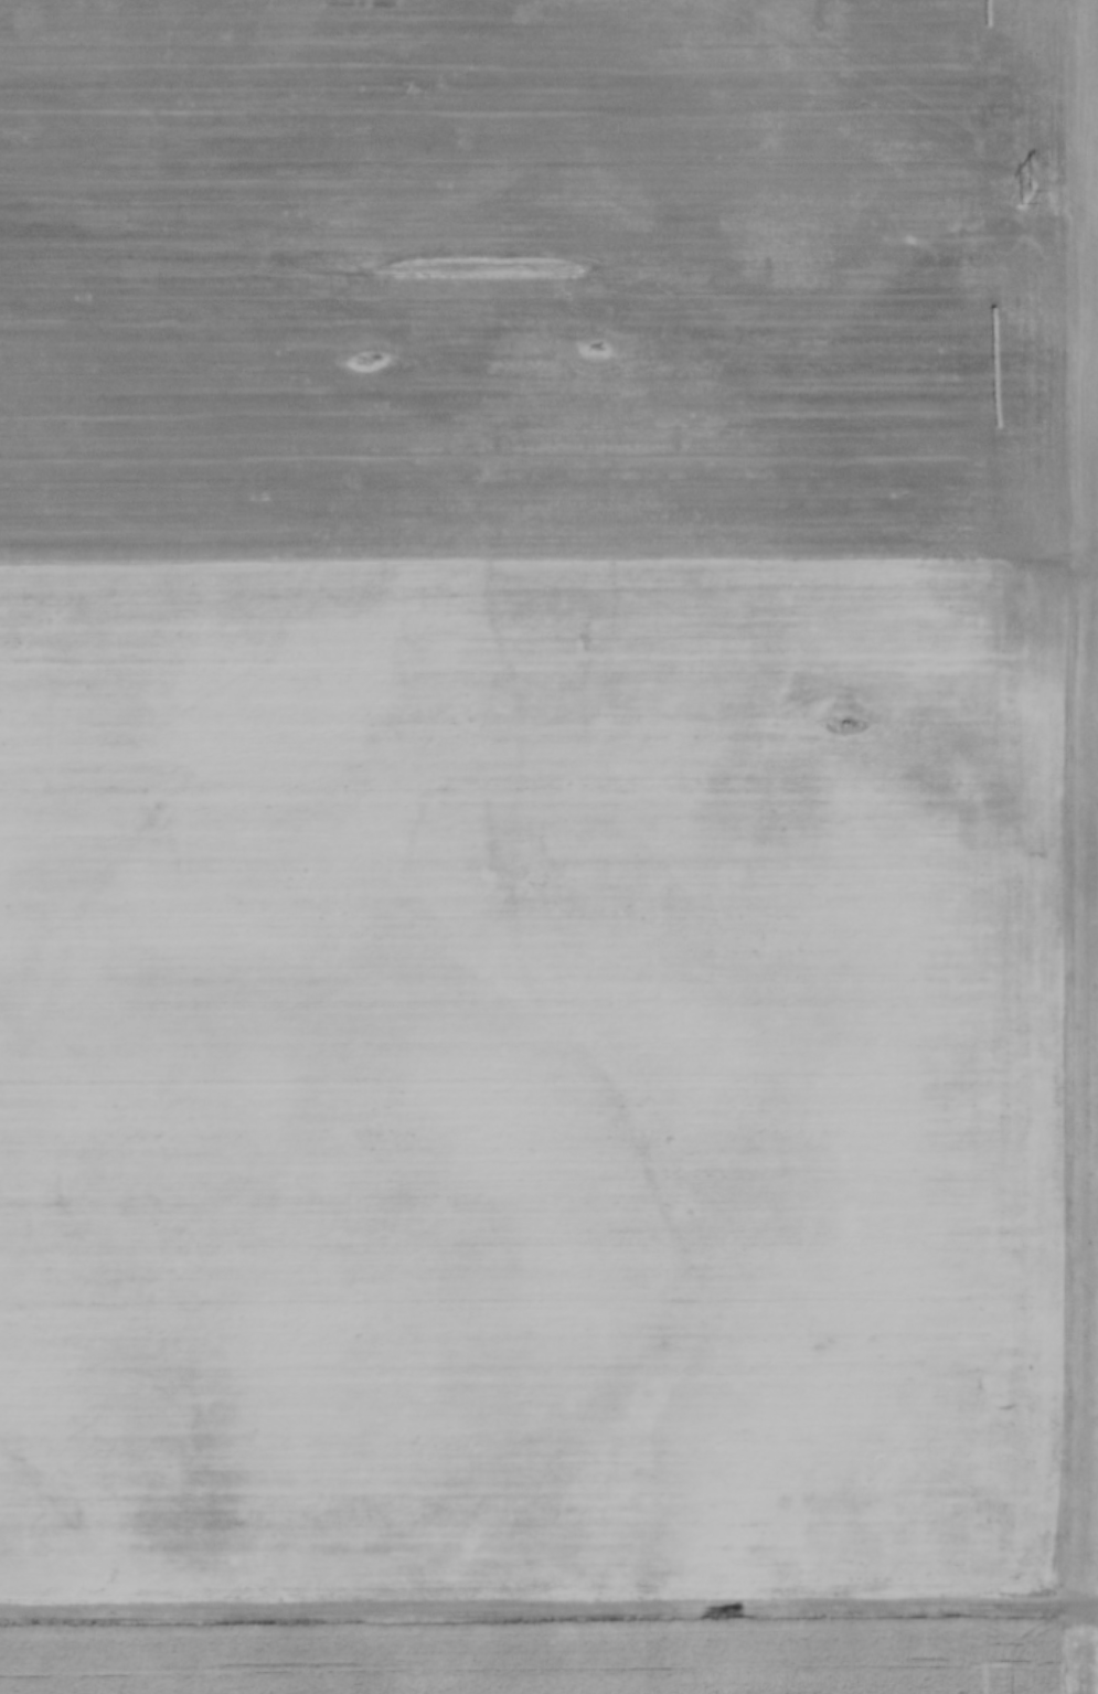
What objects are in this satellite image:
power tower: (1026, 192)
road: (548, 1612)

